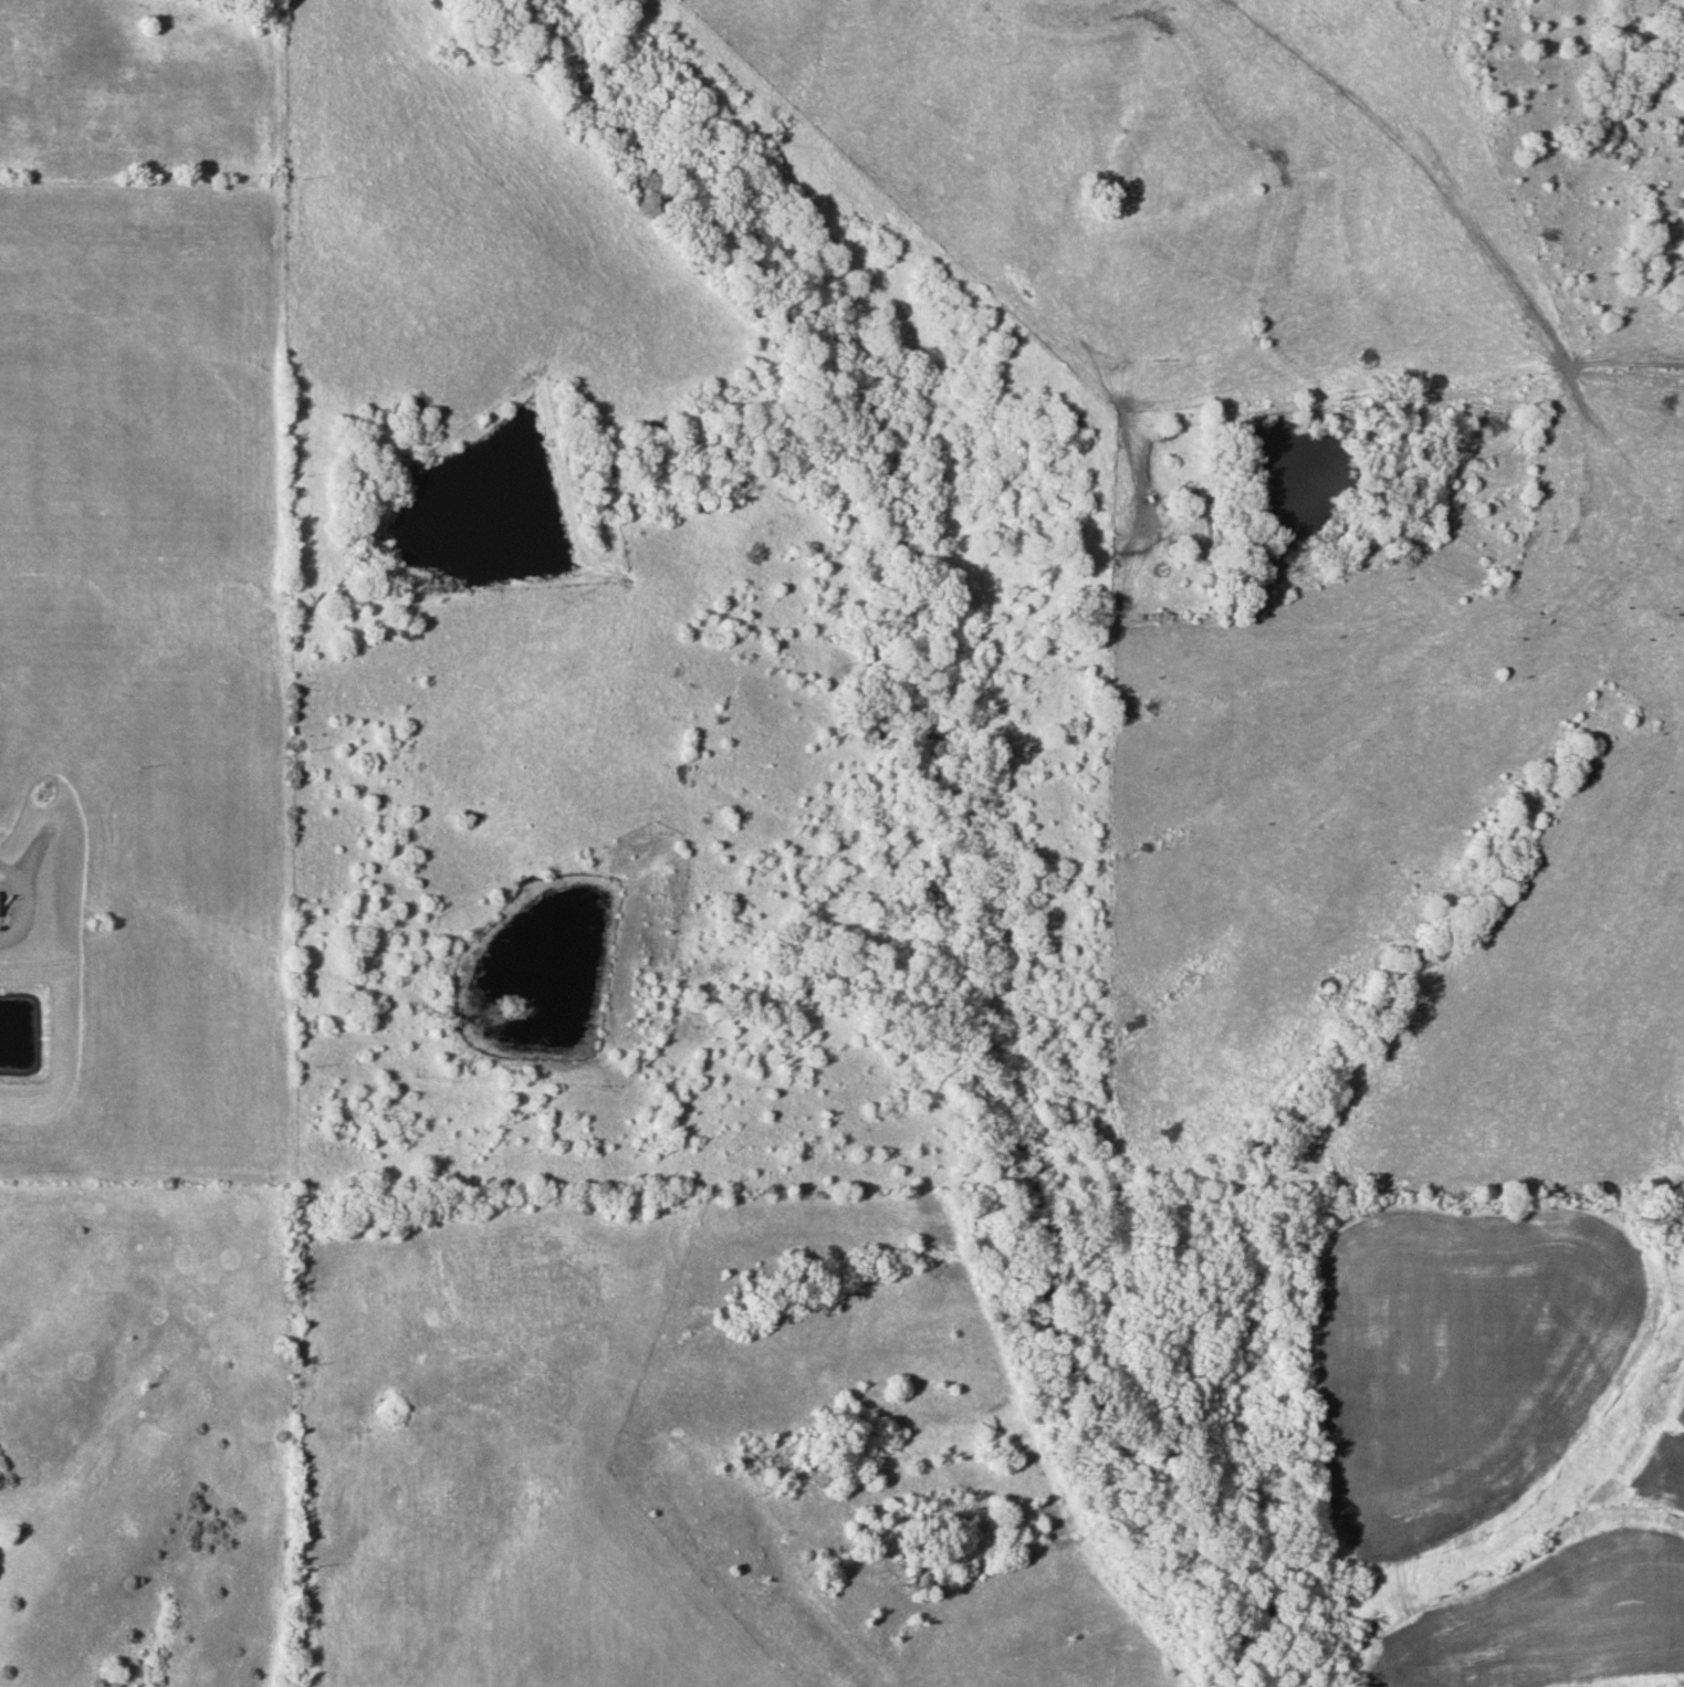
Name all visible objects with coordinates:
building: (0, 903)

